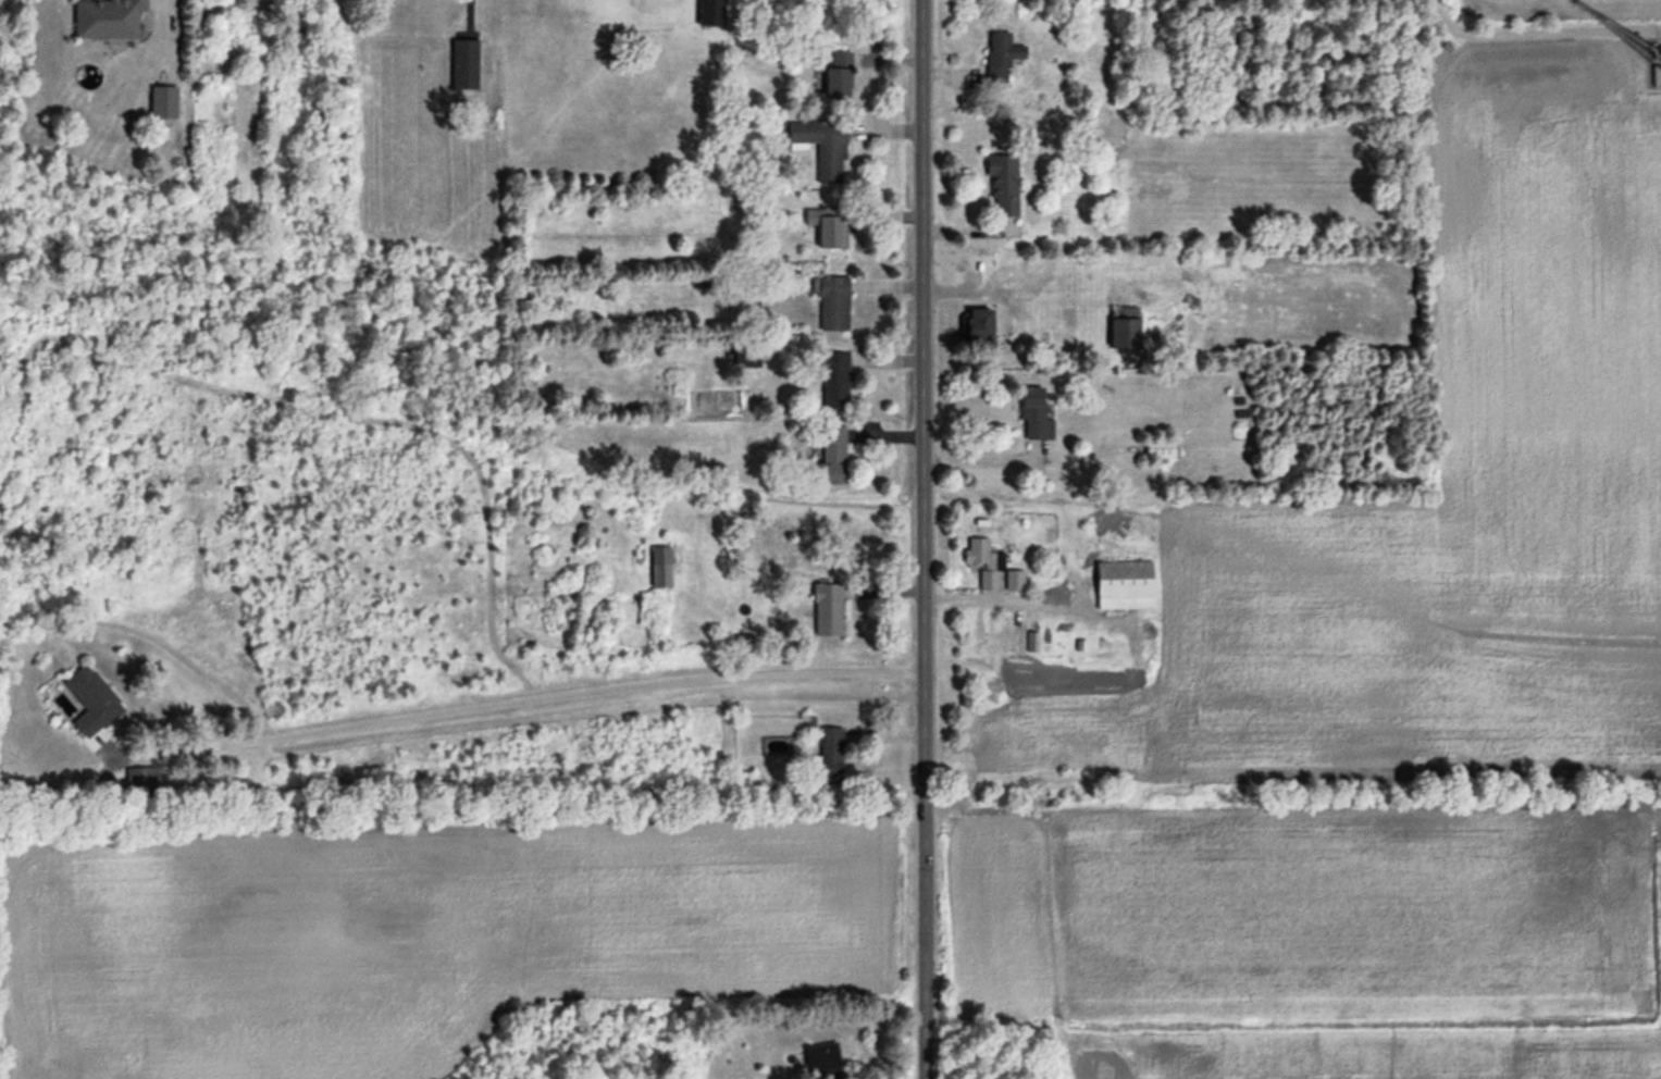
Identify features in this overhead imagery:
building: (709, 14)
building: (106, 20)
building: (1000, 57)
building: (462, 65)
building: (836, 77)
building: (162, 104)
building: (821, 148)
building: (1002, 185)
building: (823, 227)
building: (832, 306)
building: (977, 326)
building: (1123, 336)
building: (744, 359)
building: (833, 382)
building: (1033, 418)
building: (1158, 449)
building: (829, 460)
road: (925, 539)
building: (982, 565)
building: (659, 569)
building: (1013, 582)
building: (1123, 587)
building: (826, 611)
building: (91, 702)
road: (518, 706)
building: (830, 756)
building: (140, 784)
building: (821, 1062)

